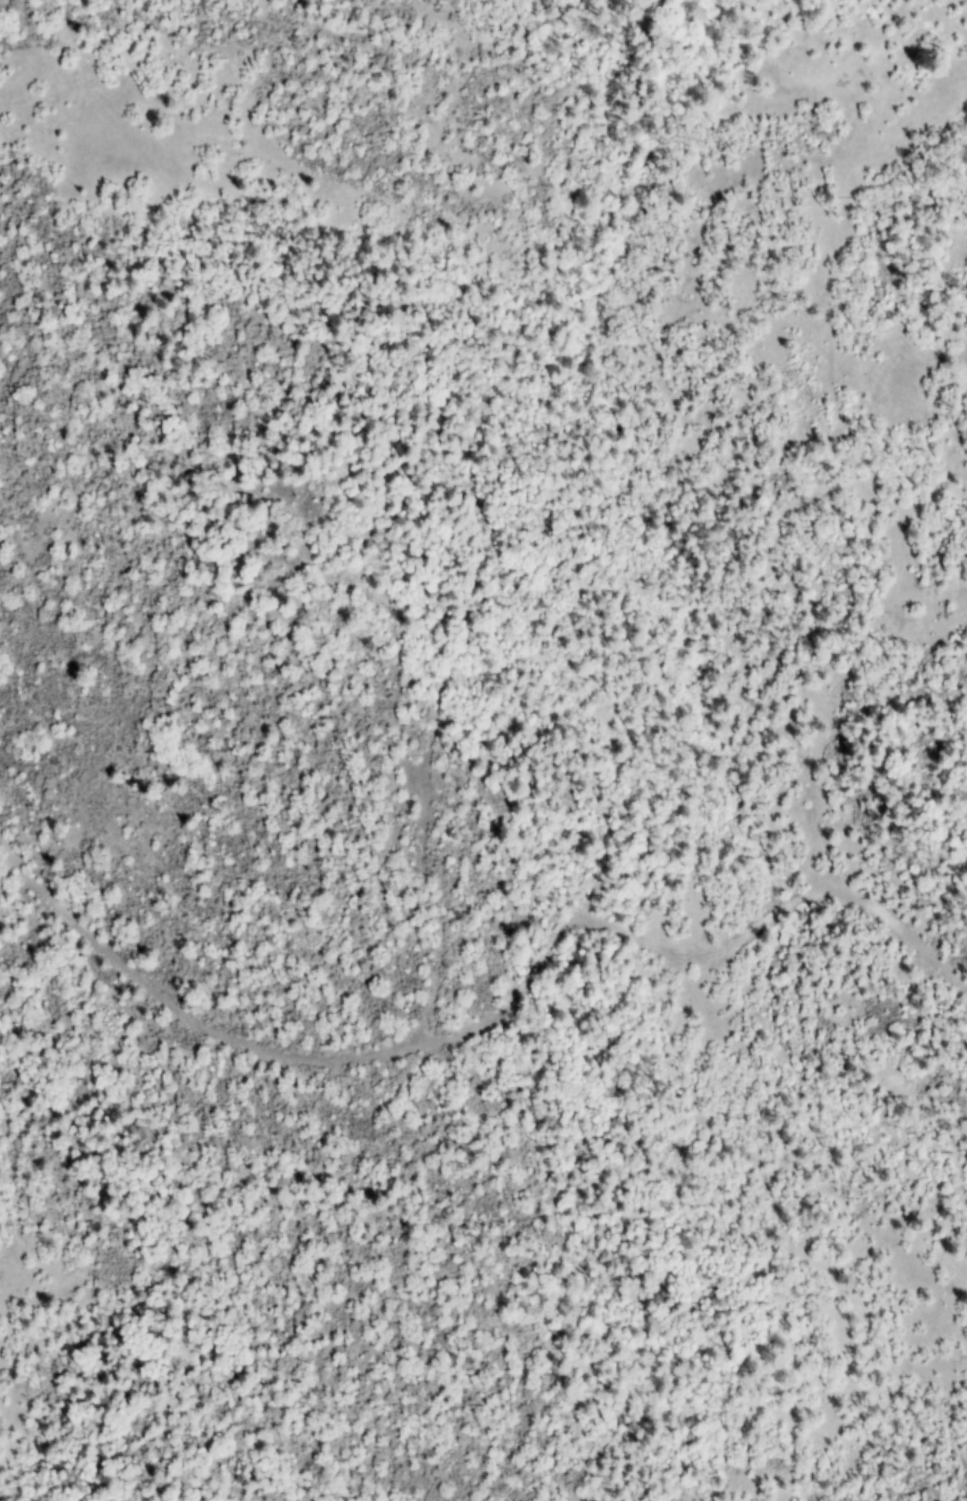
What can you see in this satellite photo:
road: (658, 466)
road: (616, 678)
road: (370, 1059)

